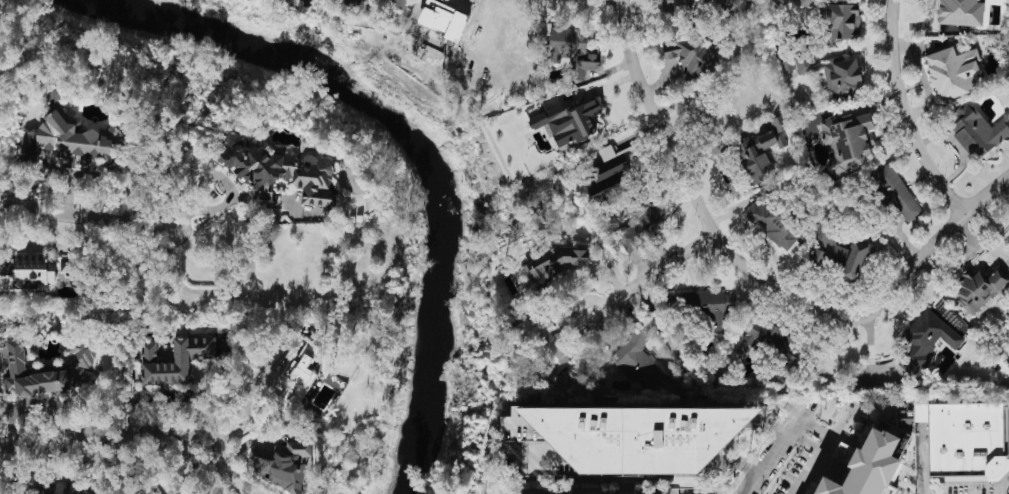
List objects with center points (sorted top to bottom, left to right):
building: (784, 1)
building: (806, 3)
building: (960, 11)
building: (443, 18)
building: (842, 20)
building: (571, 51)
building: (692, 57)
building: (954, 71)
building: (843, 76)
road: (903, 114)
building: (568, 122)
building: (779, 122)
building: (976, 129)
river: (409, 137)
building: (848, 139)
building: (65, 140)
building: (279, 170)
building: (615, 170)
building: (767, 192)
building: (895, 192)
road: (694, 197)
road: (229, 203)
road: (85, 216)
building: (641, 221)
building: (773, 224)
road: (929, 245)
road: (993, 251)
building: (839, 254)
road: (961, 261)
building: (551, 264)
road: (658, 268)
building: (29, 271)
building: (979, 288)
road: (191, 289)
building: (712, 307)
road: (591, 327)
building: (926, 339)
building: (767, 340)
building: (543, 342)
building: (634, 353)
building: (175, 358)
building: (46, 367)
building: (298, 383)
road: (251, 400)
road: (775, 421)
road: (816, 425)
road: (113, 433)
building: (631, 435)
road: (806, 441)
building: (970, 441)
road: (827, 444)
road: (778, 446)
road: (742, 462)
building: (281, 464)
building: (866, 467)
building: (73, 487)
building: (37, 489)
building: (152, 490)
building: (665, 491)

